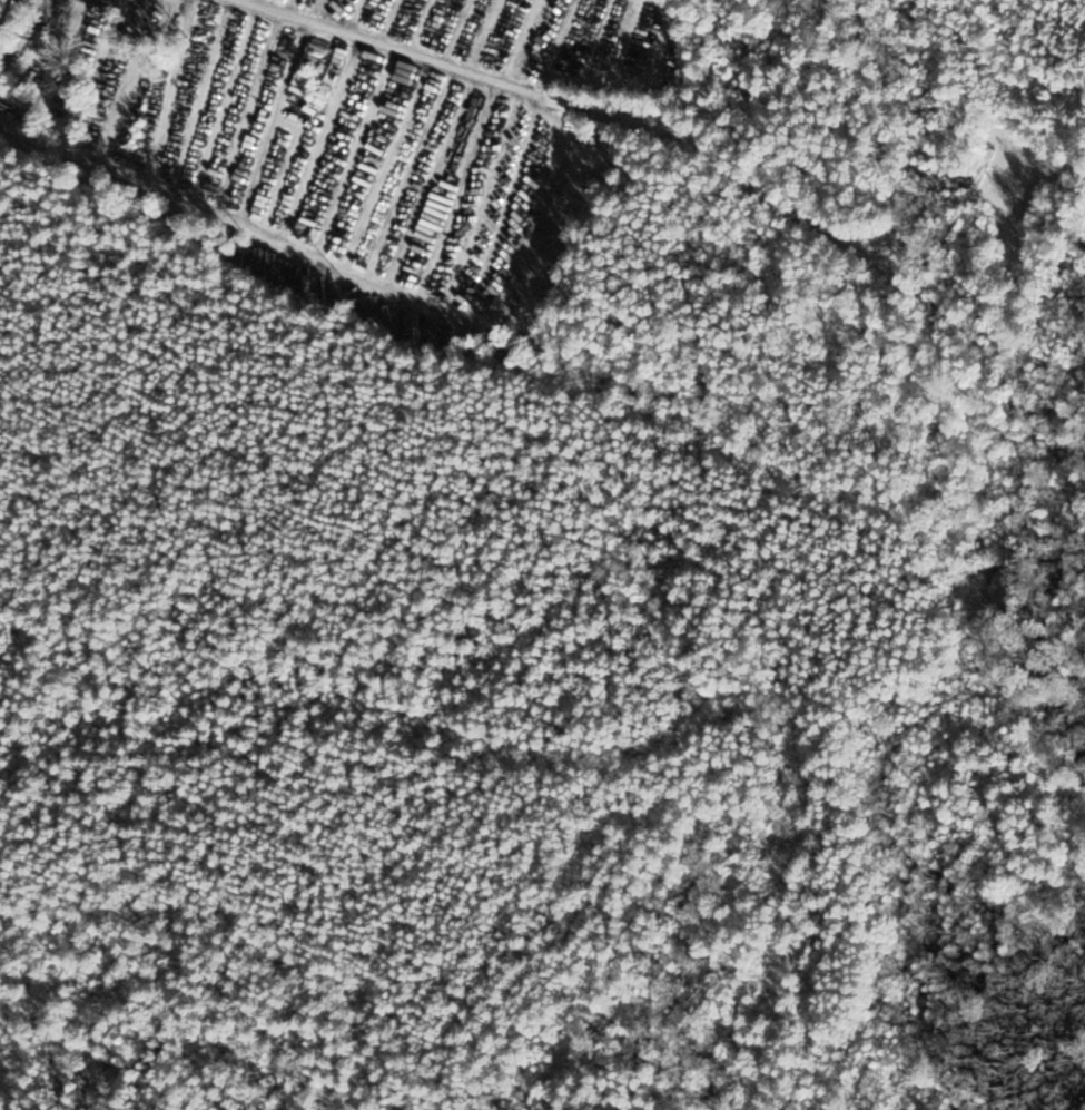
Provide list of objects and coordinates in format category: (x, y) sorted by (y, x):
building: (1042, 206)

